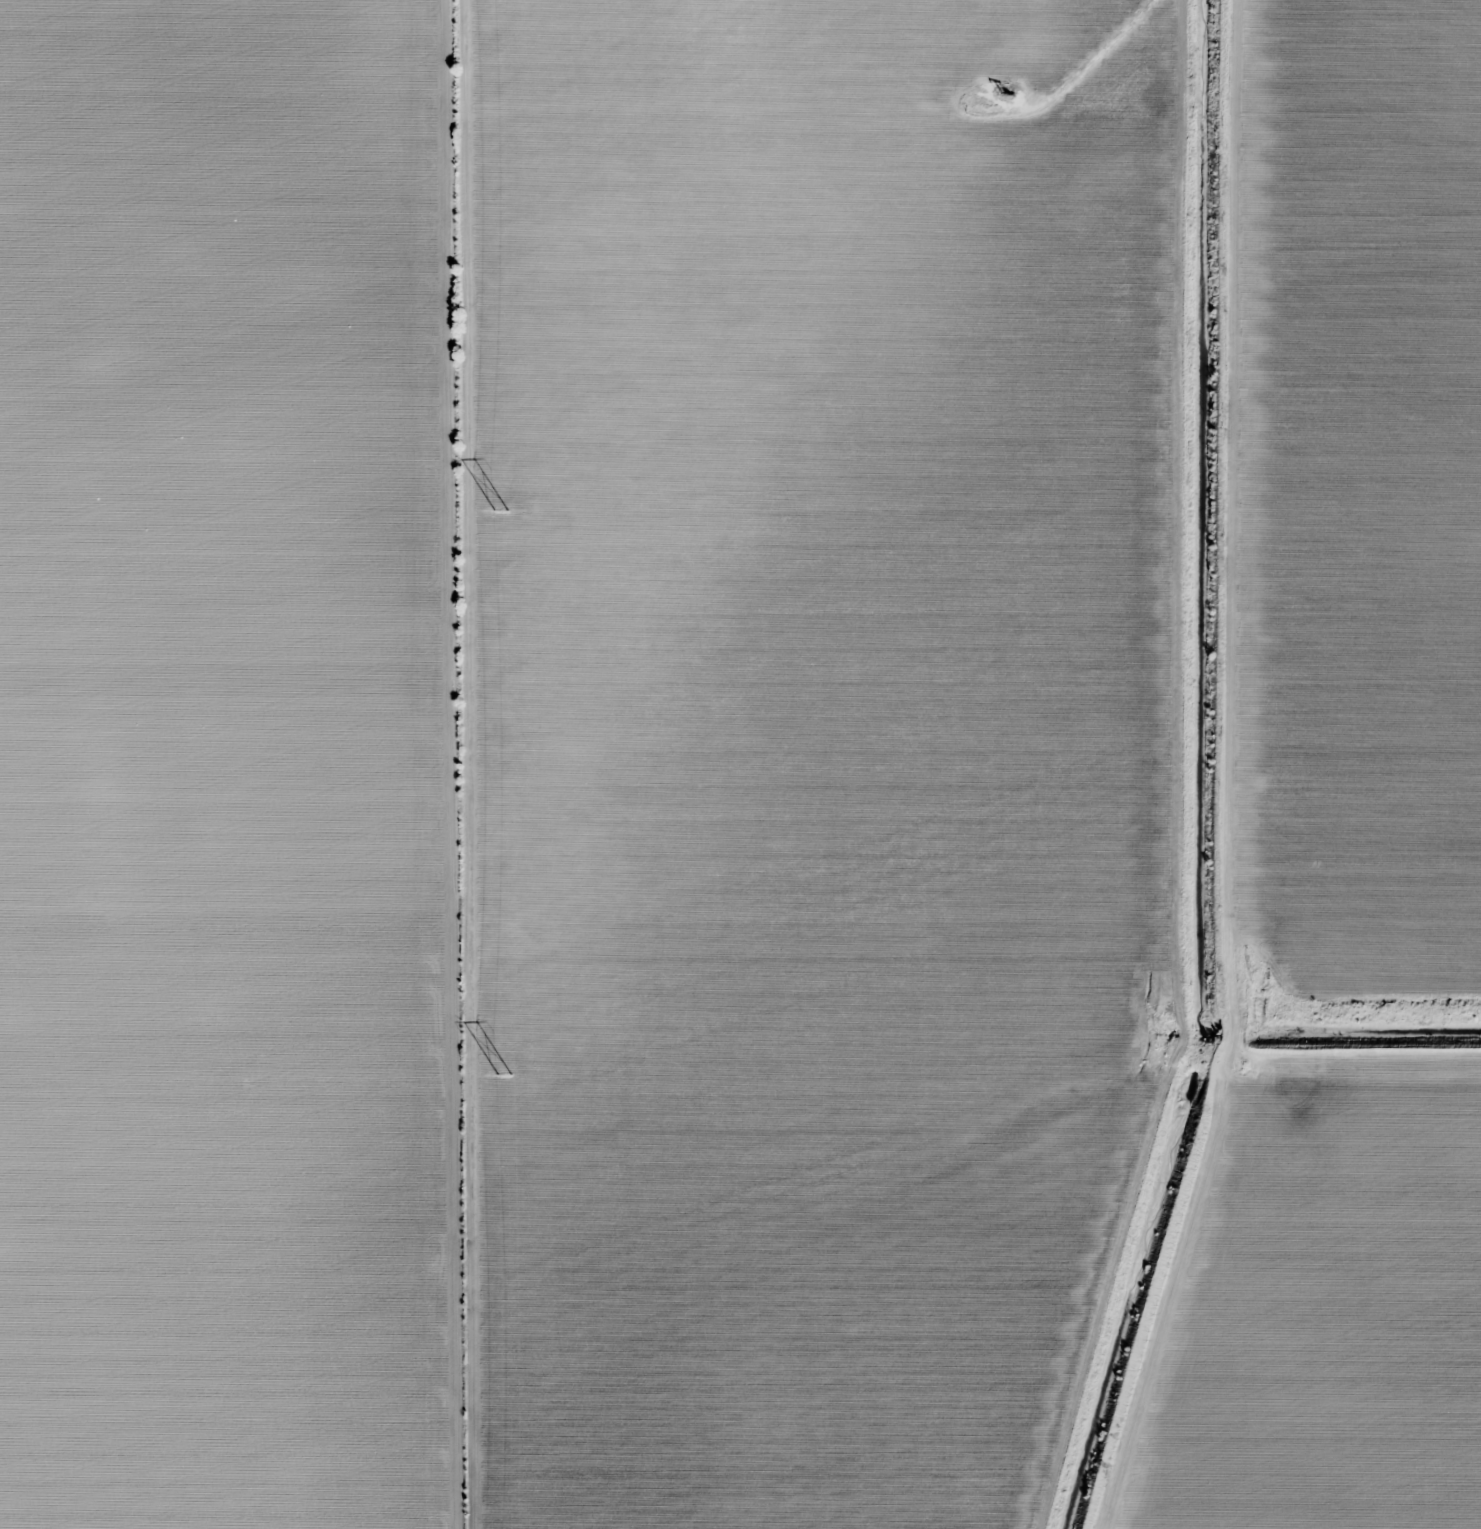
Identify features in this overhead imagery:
power tower: (501, 512)
power tower: (506, 1078)

